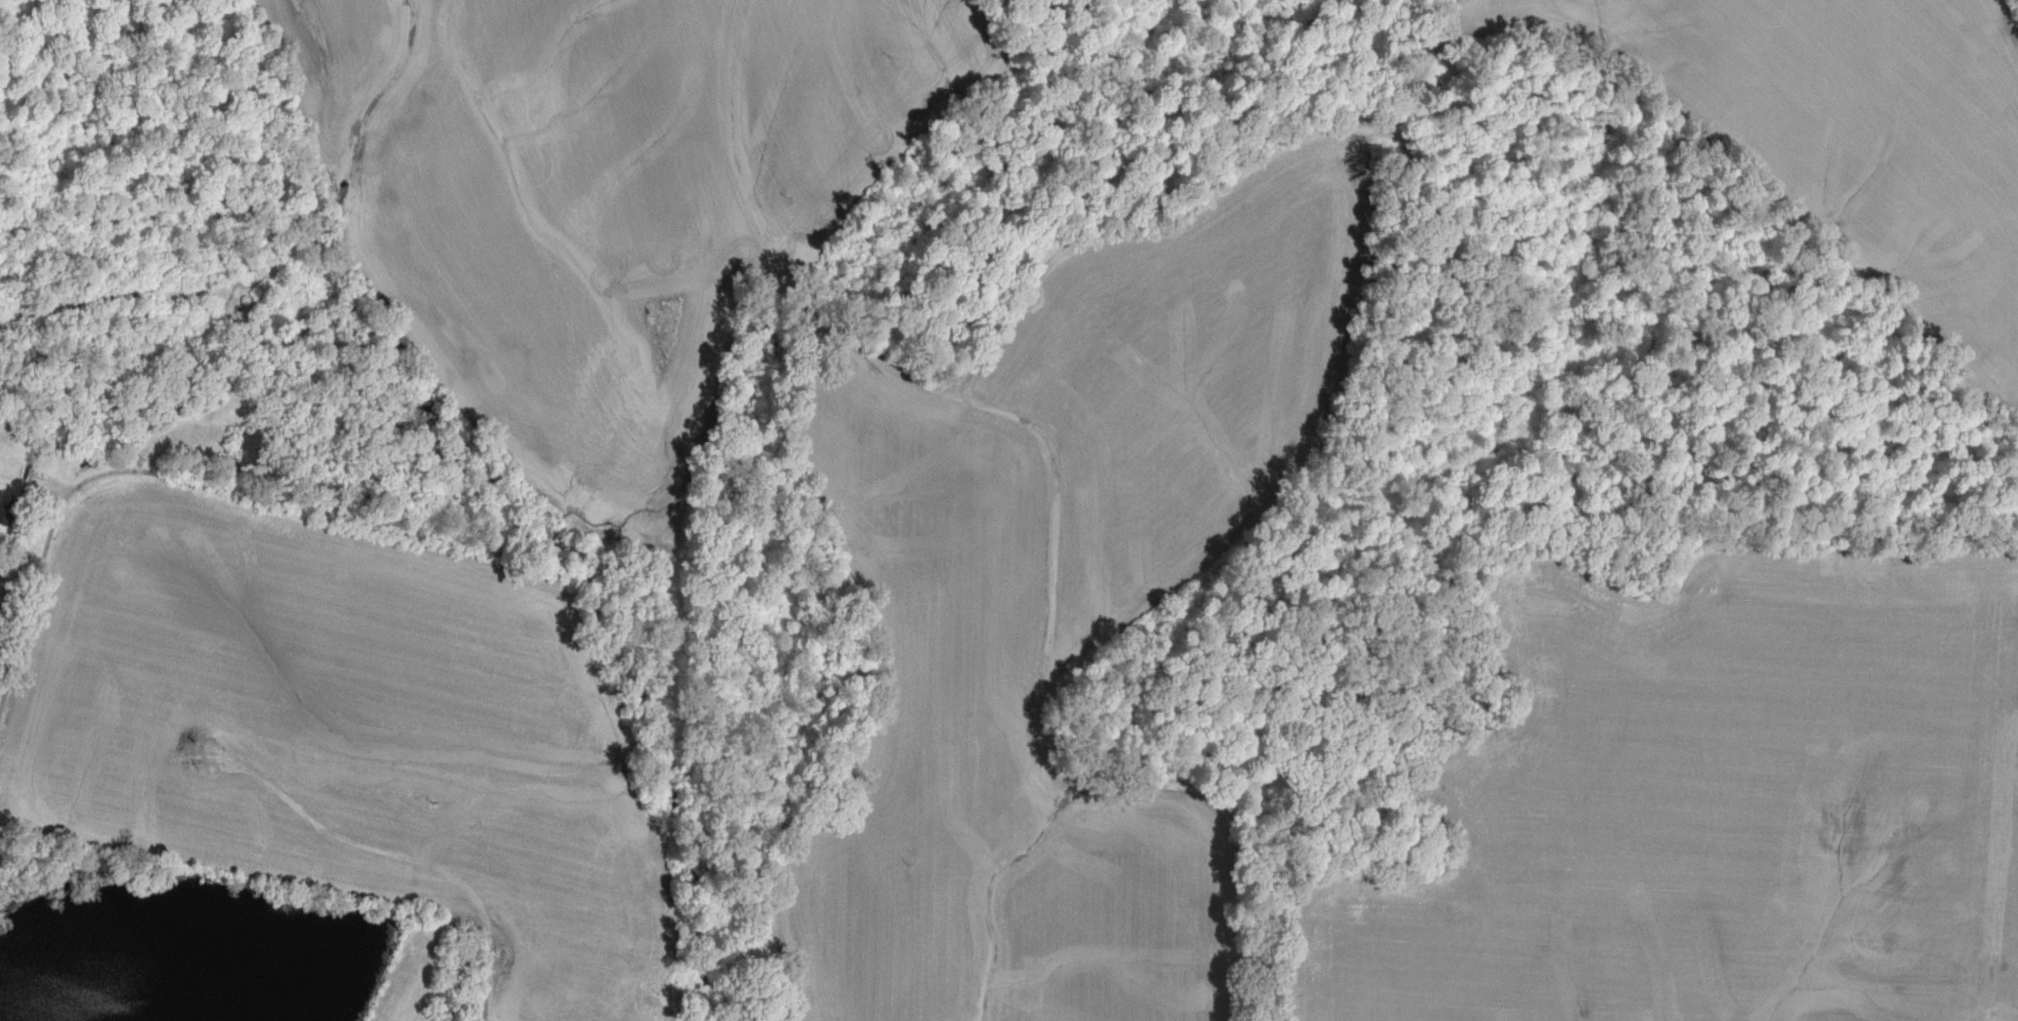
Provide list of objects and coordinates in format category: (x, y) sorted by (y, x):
road: (1248, 148)
building: (256, 448)
building: (38, 479)
building: (9, 510)
road: (1057, 510)
road: (55, 522)
road: (323, 880)

